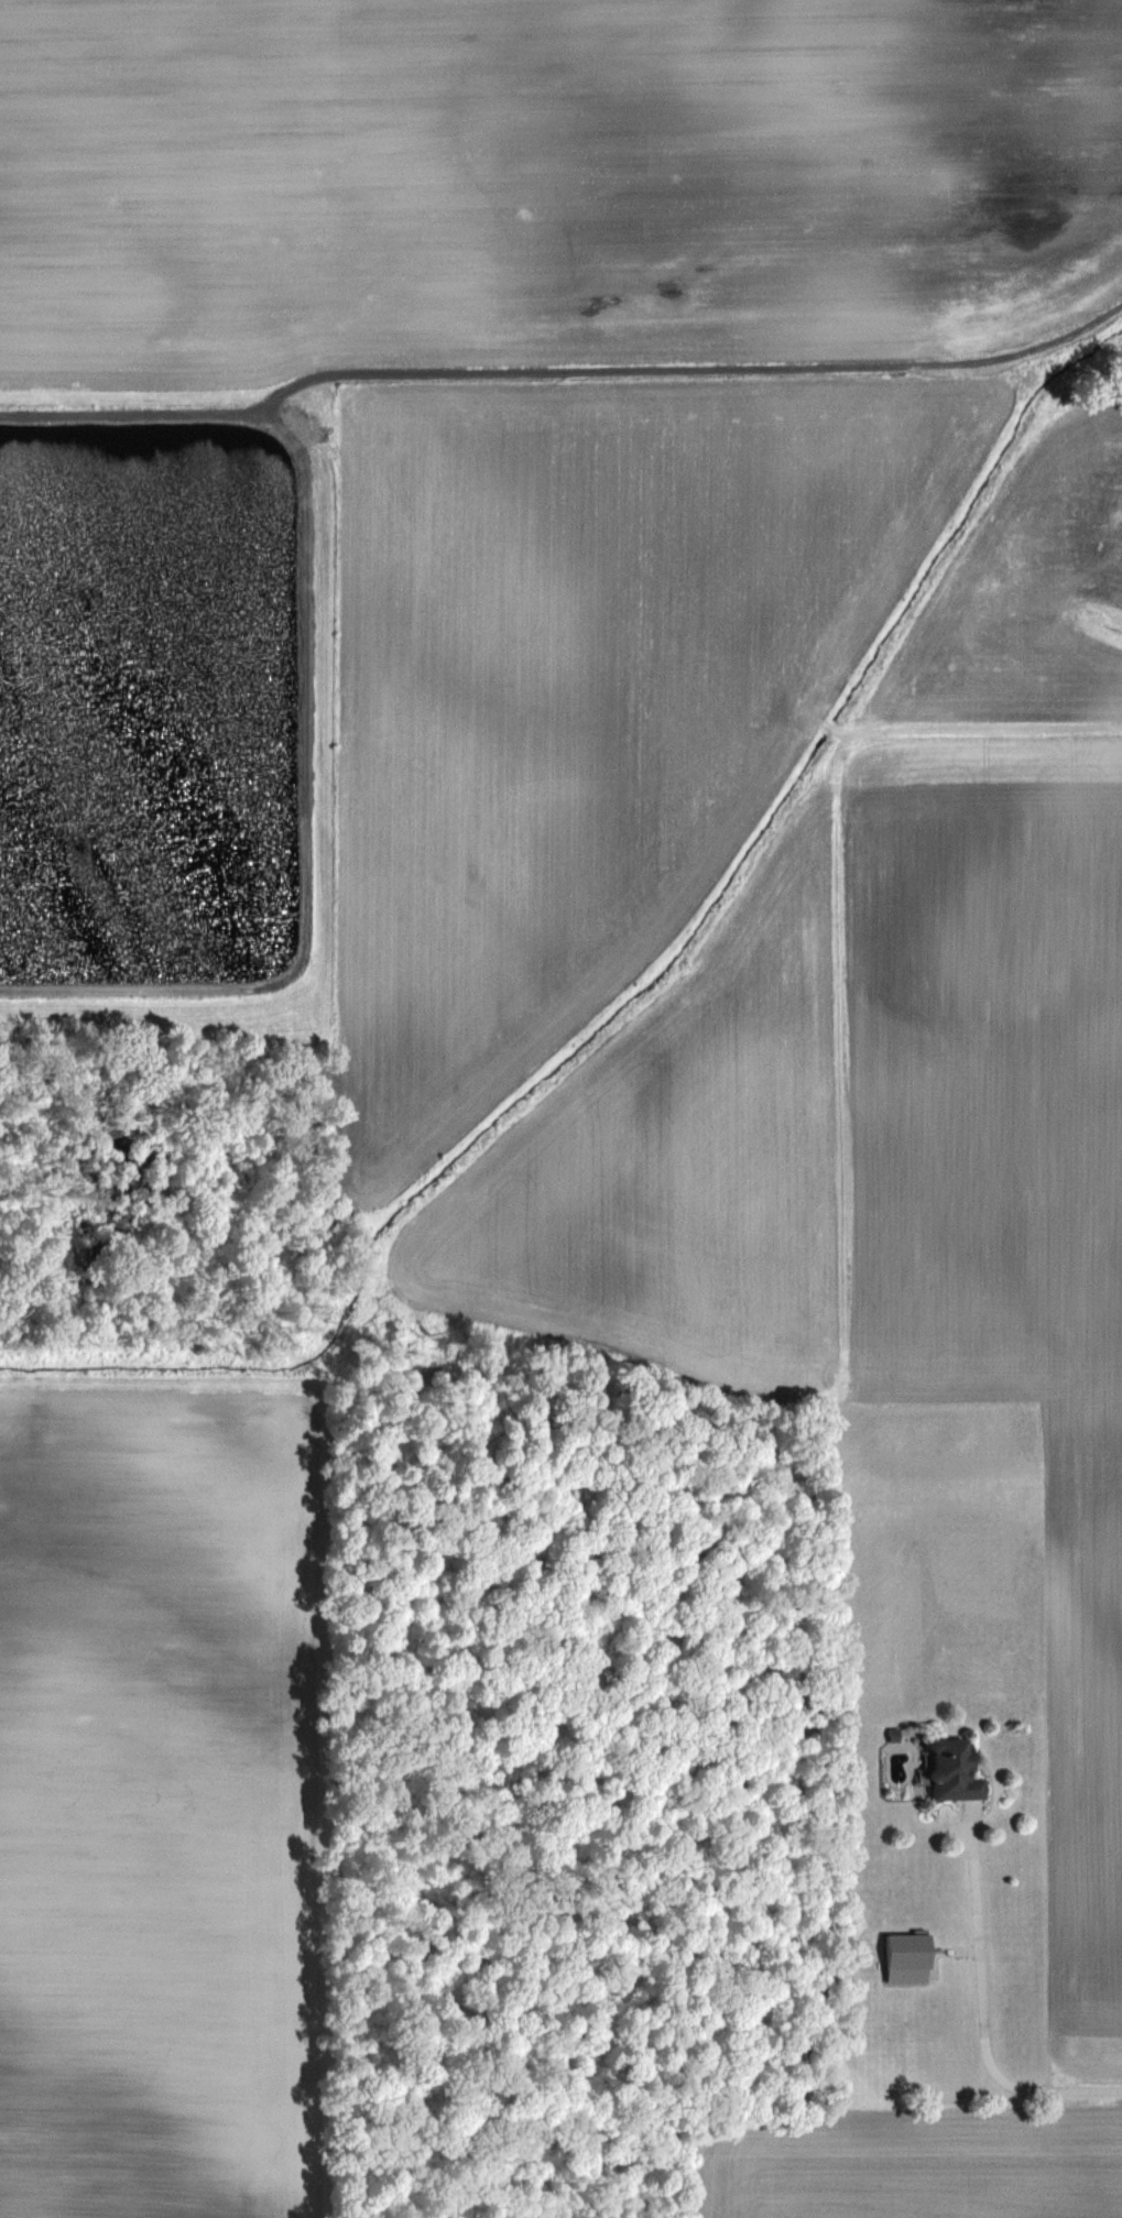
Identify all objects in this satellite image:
building: (952, 1769)
building: (914, 1958)
road: (982, 2009)

